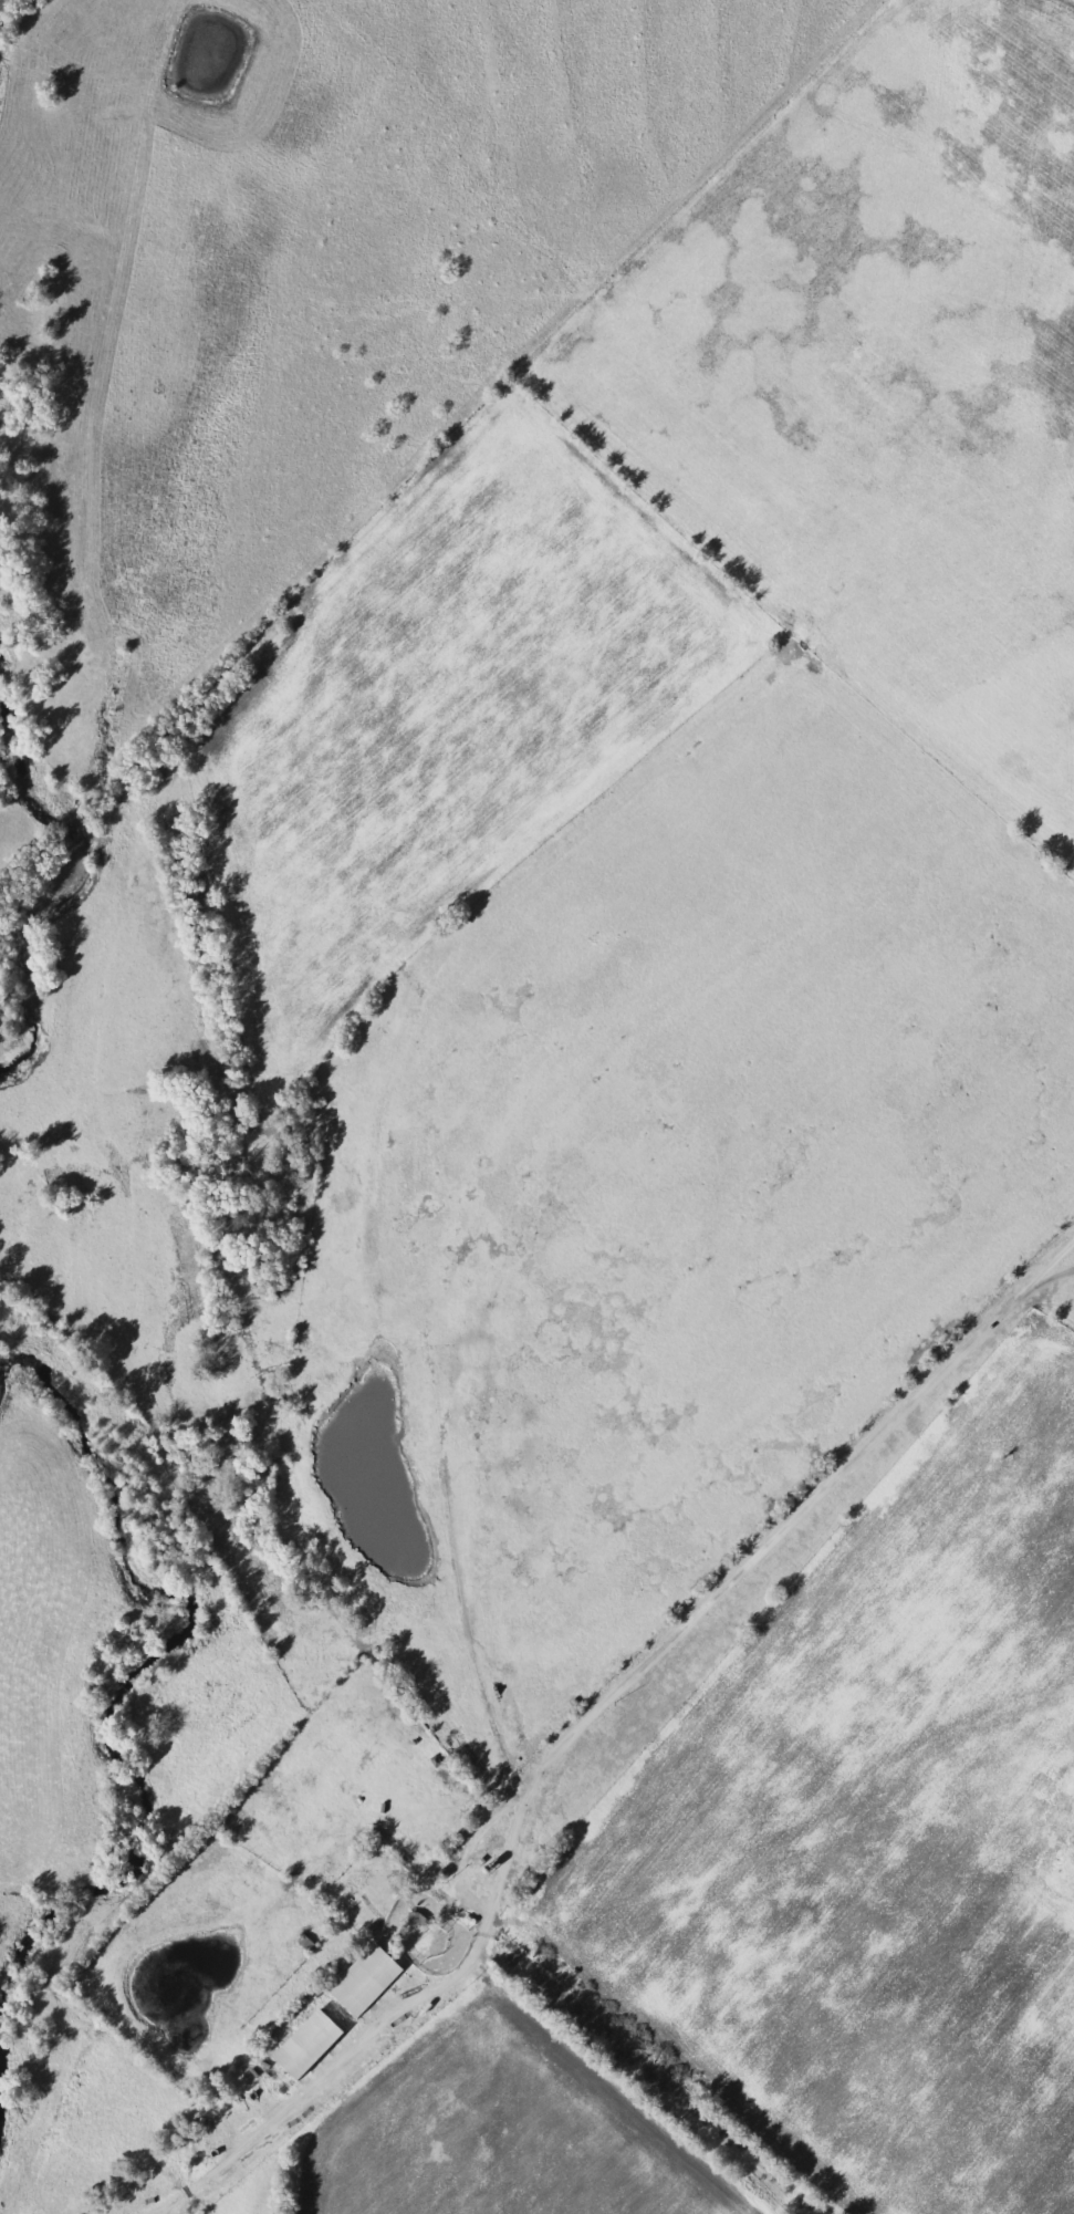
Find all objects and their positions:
road: (3, 3)
road: (1064, 1261)
road: (788, 1522)
road: (488, 1898)
building: (369, 1982)
building: (314, 2047)

